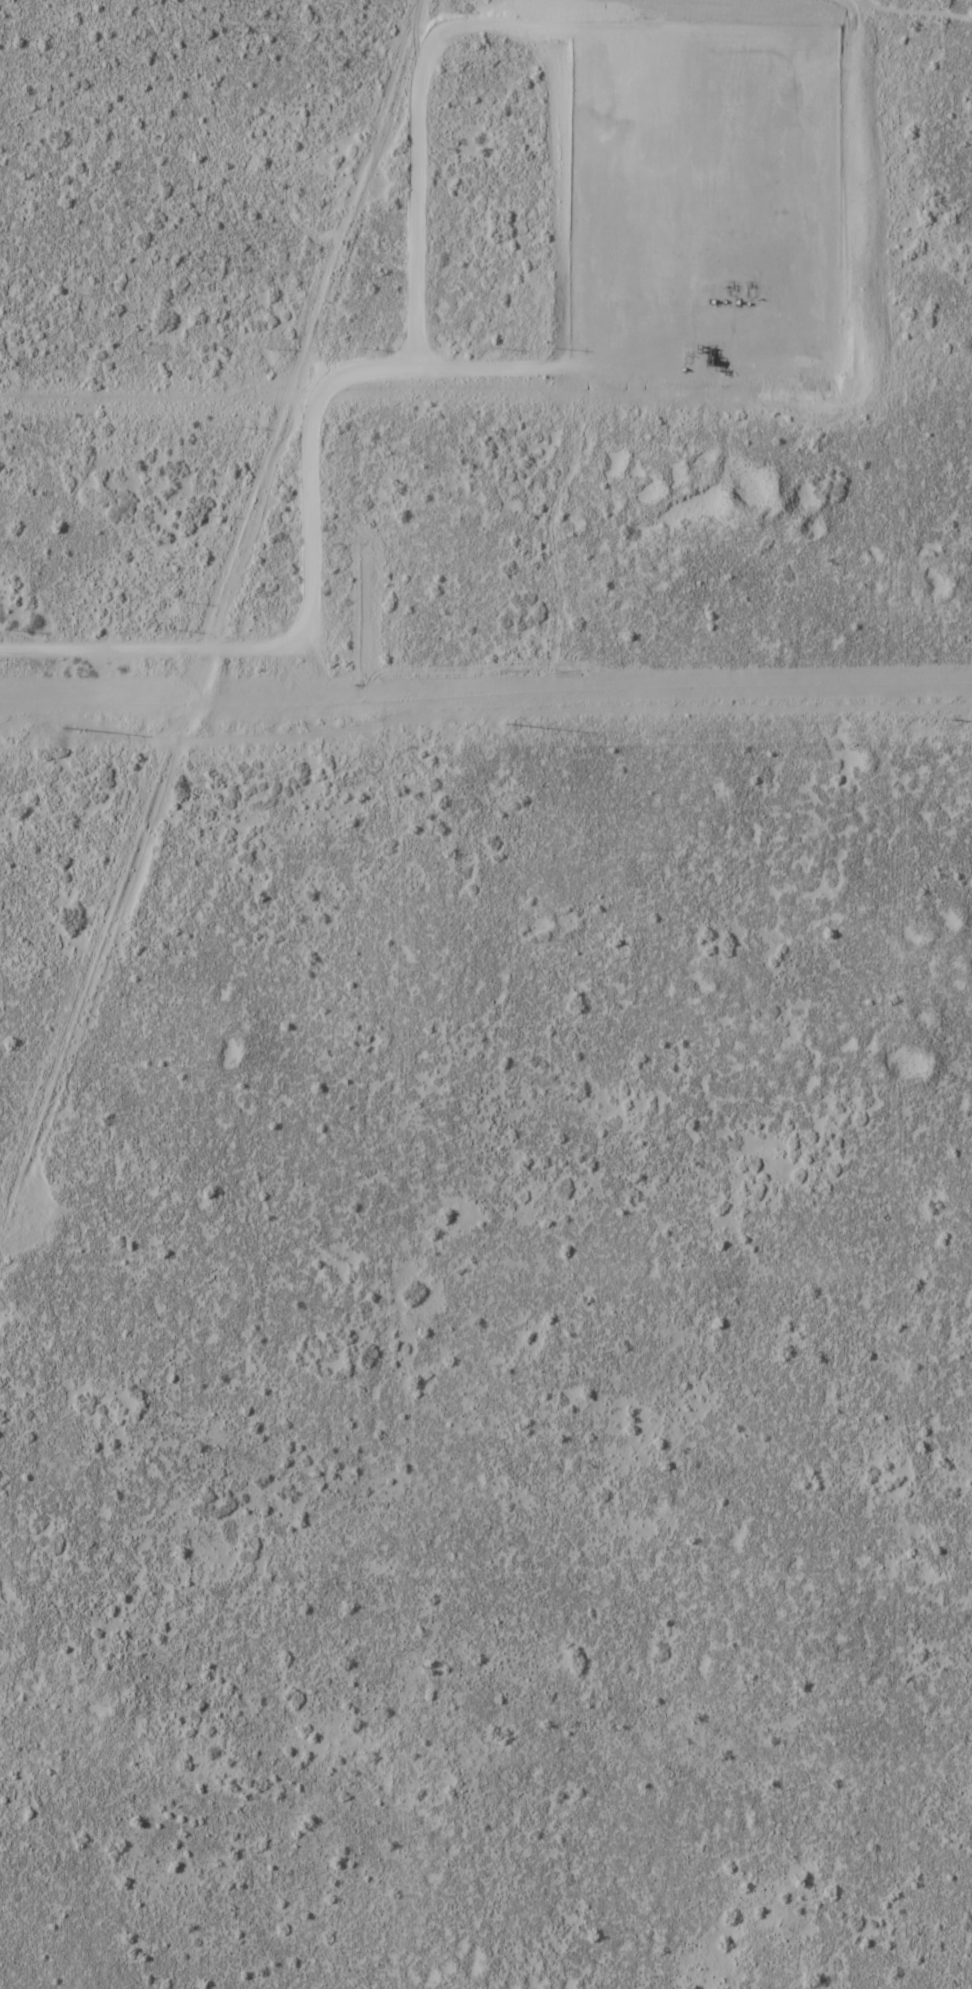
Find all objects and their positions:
road: (434, 56)
petroleum well: (730, 285)
petroleum well: (749, 285)
road: (324, 532)

